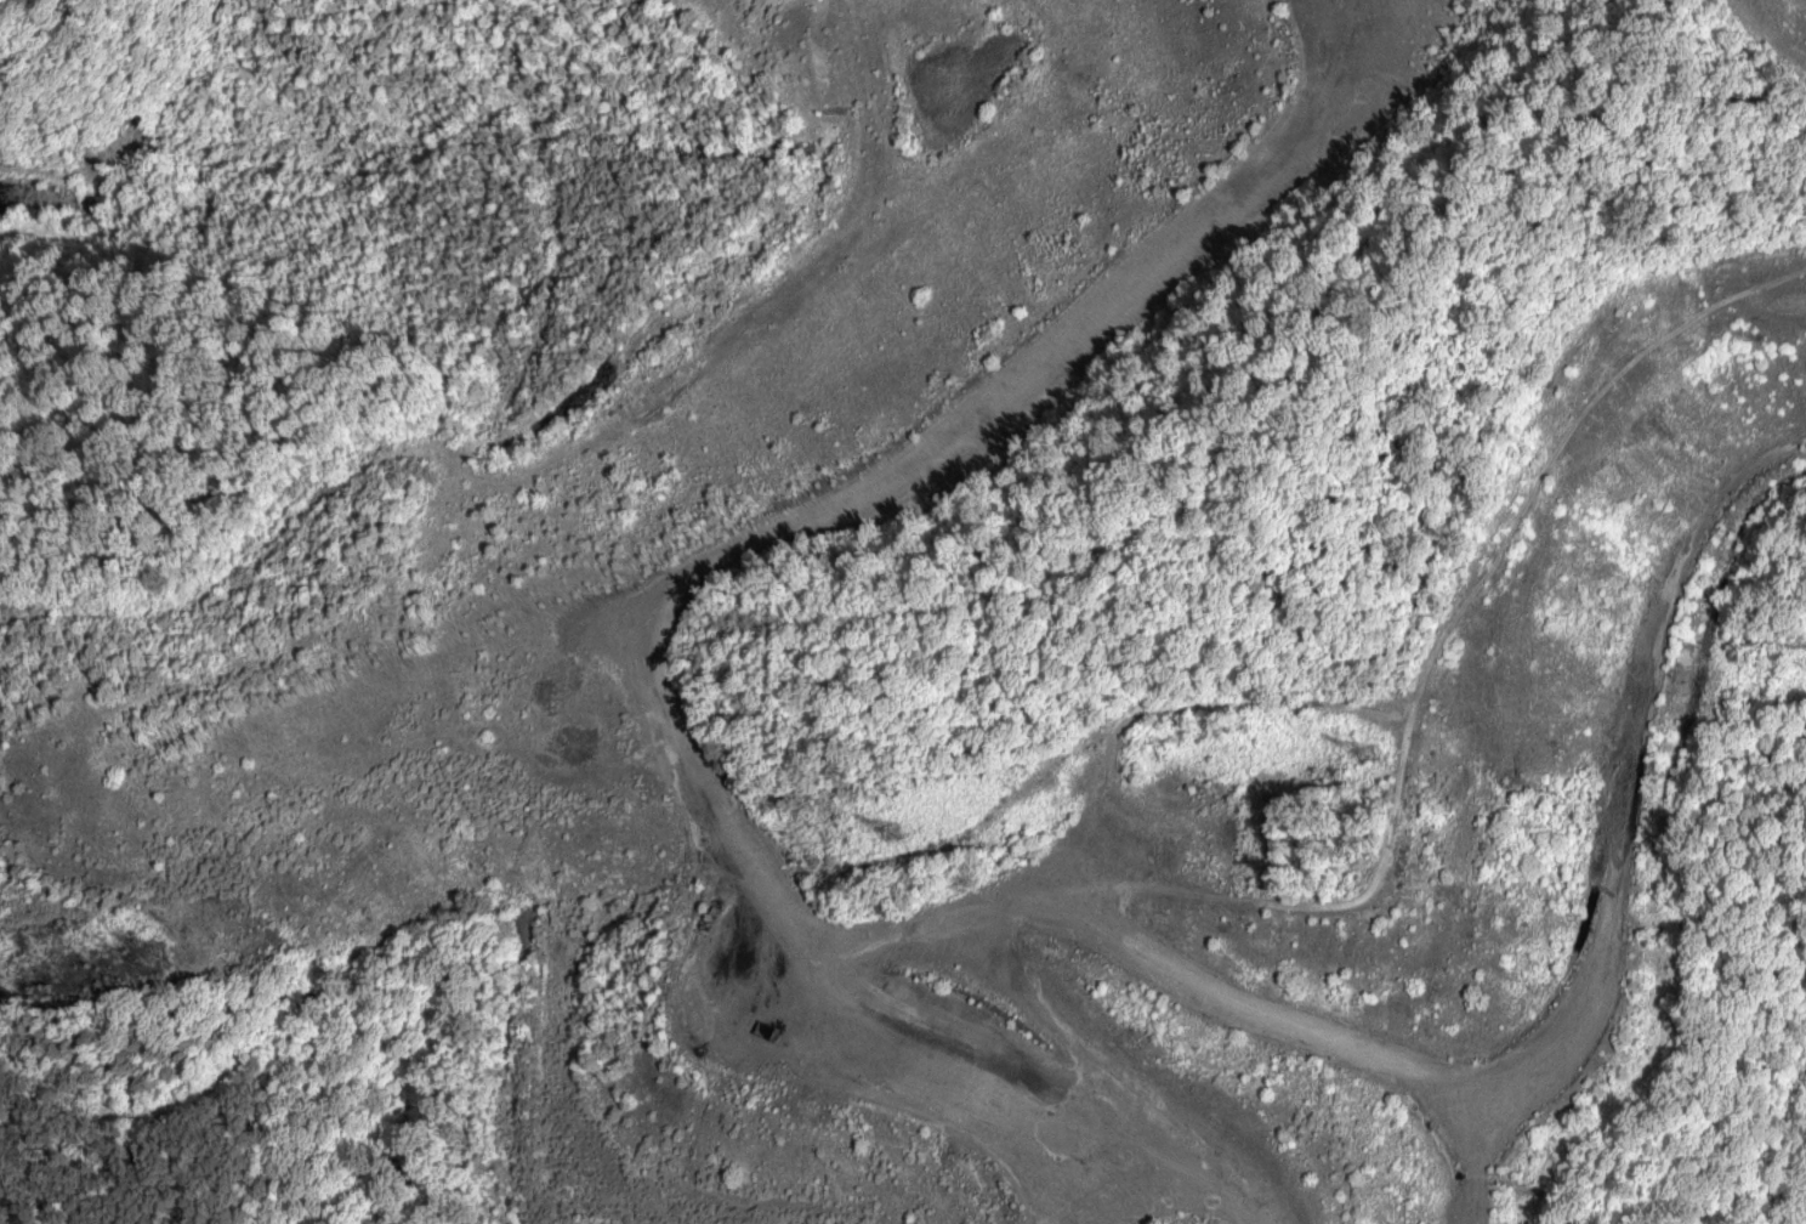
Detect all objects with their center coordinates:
power tower: (1374, 749)
power tower: (154, 951)

